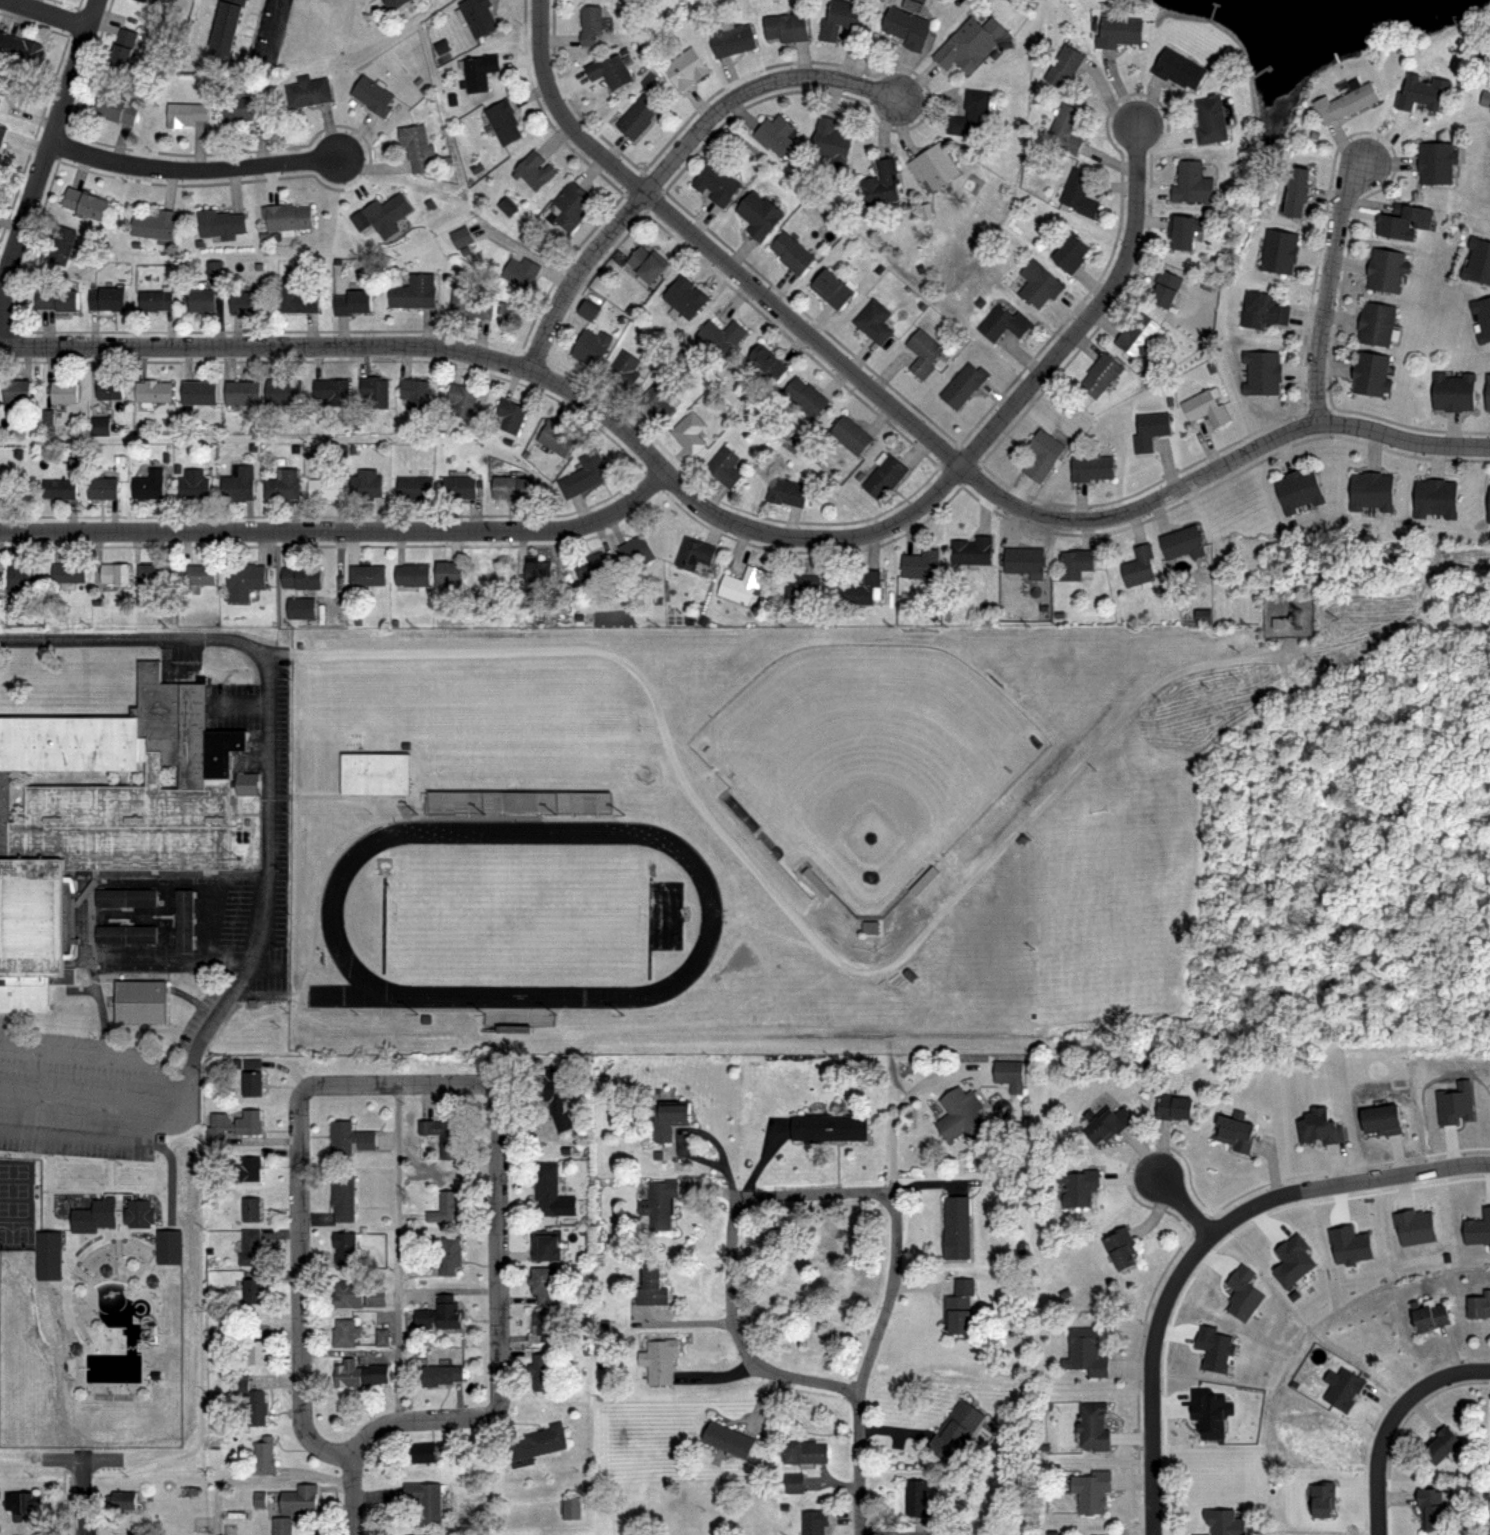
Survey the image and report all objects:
building: (138, 1)
building: (392, 5)
road: (44, 14)
building: (477, 17)
building: (839, 19)
building: (908, 23)
building: (594, 25)
road: (266, 27)
building: (786, 27)
building: (1119, 31)
building: (224, 32)
building: (732, 40)
building: (970, 44)
building: (21, 52)
building: (122, 52)
building: (1064, 66)
building: (1179, 67)
building: (684, 68)
building: (479, 71)
building: (609, 71)
road: (752, 90)
building: (306, 91)
building: (1422, 91)
building: (12, 94)
building: (372, 96)
building: (1347, 102)
building: (108, 108)
building: (241, 109)
building: (971, 112)
building: (187, 113)
building: (637, 115)
building: (502, 120)
building: (1210, 121)
building: (1065, 129)
building: (1, 134)
building: (776, 134)
building: (830, 139)
building: (417, 147)
building: (1, 160)
road: (44, 160)
building: (1437, 163)
building: (933, 165)
building: (533, 169)
road: (194, 171)
building: (1, 178)
building: (1191, 183)
building: (716, 184)
building: (882, 184)
building: (1295, 192)
building: (1079, 193)
building: (88, 203)
building: (570, 204)
building: (506, 206)
building: (382, 214)
building: (760, 215)
building: (290, 219)
building: (1405, 221)
building: (224, 223)
building: (157, 226)
building: (1181, 232)
building: (460, 237)
building: (63, 244)
building: (1277, 251)
building: (791, 252)
road: (714, 254)
building: (1068, 254)
building: (1477, 262)
building: (645, 265)
building: (214, 270)
building: (521, 270)
building: (1385, 273)
road: (578, 276)
building: (1039, 285)
building: (1166, 289)
building: (831, 290)
road: (1327, 290)
building: (413, 292)
building: (683, 297)
building: (109, 298)
building: (299, 298)
building: (60, 299)
building: (160, 299)
building: (205, 300)
building: (249, 302)
building: (357, 302)
building: (472, 304)
building: (585, 309)
building: (1261, 309)
road: (1089, 314)
building: (1482, 319)
building: (874, 320)
building: (1002, 323)
building: (1375, 325)
building: (1137, 335)
building: (721, 337)
building: (590, 347)
building: (920, 355)
building: (767, 363)
road: (519, 367)
building: (624, 368)
building: (1261, 372)
building: (1101, 373)
building: (1371, 375)
building: (962, 385)
building: (113, 390)
building: (156, 390)
building: (335, 390)
building: (20, 391)
building: (287, 391)
building: (377, 391)
building: (1454, 391)
building: (246, 392)
building: (415, 392)
building: (68, 393)
building: (202, 393)
building: (1487, 393)
building: (804, 395)
building: (657, 399)
building: (462, 401)
building: (1204, 408)
building: (510, 414)
building: (97, 426)
building: (1149, 430)
building: (689, 432)
building: (850, 434)
building: (556, 438)
building: (1043, 454)
building: (724, 465)
building: (1091, 466)
road: (1218, 466)
building: (583, 476)
building: (883, 476)
building: (196, 483)
building: (240, 483)
building: (152, 485)
building: (285, 485)
building: (368, 485)
building: (328, 487)
building: (458, 487)
building: (508, 487)
building: (3, 488)
building: (106, 488)
building: (416, 488)
building: (61, 489)
building: (1299, 489)
building: (1369, 490)
building: (788, 492)
building: (1434, 497)
building: (1489, 504)
road: (340, 532)
building: (1181, 542)
building: (634, 550)
building: (973, 550)
building: (691, 554)
building: (1026, 562)
building: (921, 564)
building: (1076, 565)
building: (1138, 565)
building: (590, 566)
building: (446, 573)
building: (71, 574)
building: (155, 574)
building: (199, 574)
building: (118, 575)
building: (368, 575)
building: (536, 575)
building: (413, 576)
building: (305, 578)
building: (26, 579)
building: (247, 581)
building: (742, 587)
building: (800, 589)
building: (862, 589)
building: (304, 608)
road: (244, 706)
road: (265, 748)
park: (865, 763)
building: (375, 774)
building: (519, 798)
building: (104, 813)
building: (922, 882)
building: (123, 898)
road: (783, 903)
track: (328, 914)
park: (516, 915)
building: (181, 920)
building: (868, 928)
building: (122, 934)
building: (136, 1001)
building: (518, 1011)
building: (1010, 1075)
road: (458, 1083)
building: (255, 1084)
road: (86, 1097)
road: (177, 1098)
building: (557, 1102)
building: (1455, 1103)
road: (900, 1106)
building: (1174, 1110)
building: (962, 1118)
building: (666, 1120)
building: (1380, 1120)
building: (251, 1124)
building: (1104, 1126)
building: (828, 1128)
building: (1321, 1128)
road: (706, 1135)
building: (1235, 1135)
building: (349, 1136)
building: (443, 1138)
building: (247, 1171)
road: (1407, 1175)
building: (1077, 1184)
building: (551, 1192)
building: (343, 1195)
building: (660, 1202)
building: (445, 1206)
road: (1185, 1207)
building: (252, 1210)
road: (734, 1210)
road: (148, 1214)
building: (956, 1226)
building: (1414, 1226)
building: (1477, 1227)
building: (1349, 1244)
building: (254, 1246)
building: (345, 1246)
building: (547, 1246)
building: (1119, 1248)
road: (399, 1252)
building: (442, 1259)
building: (1293, 1259)
building: (649, 1284)
building: (543, 1286)
building: (255, 1289)
building: (1243, 1291)
road: (450, 1292)
building: (349, 1294)
building: (376, 1295)
building: (1478, 1305)
building: (68, 1307)
building: (961, 1307)
building: (1428, 1312)
building: (439, 1314)
road: (1162, 1315)
building: (546, 1324)
building: (344, 1331)
building: (381, 1336)
building: (1215, 1347)
building: (257, 1351)
building: (1086, 1352)
road: (351, 1353)
road: (99, 1359)
building: (659, 1360)
building: (347, 1372)
building: (542, 1372)
building: (378, 1373)
building: (440, 1374)
building: (1343, 1387)
building: (258, 1408)
building: (1212, 1412)
road: (1392, 1421)
building: (1094, 1425)
building: (955, 1427)
building: (728, 1438)
building: (537, 1442)
building: (1441, 1443)
building: (806, 1451)
building: (420, 1453)
building: (268, 1460)
road: (859, 1464)
road: (83, 1477)
road: (259, 1479)
building: (793, 1483)
building: (1092, 1489)
road: (352, 1497)
building: (125, 1498)
building: (1322, 1498)
building: (919, 1500)
building: (424, 1501)
building: (27, 1504)
building: (299, 1506)
building: (569, 1508)
building: (1431, 1508)
building: (815, 1520)
building: (1223, 1523)

